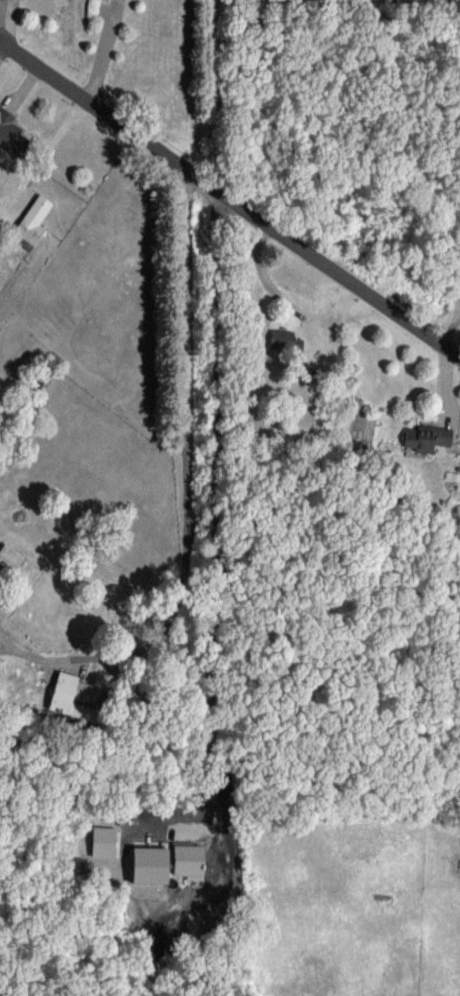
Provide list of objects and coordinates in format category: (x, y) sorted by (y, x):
road: (99, 49)
building: (12, 135)
road: (230, 197)
building: (33, 221)
building: (280, 338)
building: (426, 437)
road: (185, 490)
road: (216, 504)
building: (77, 697)

